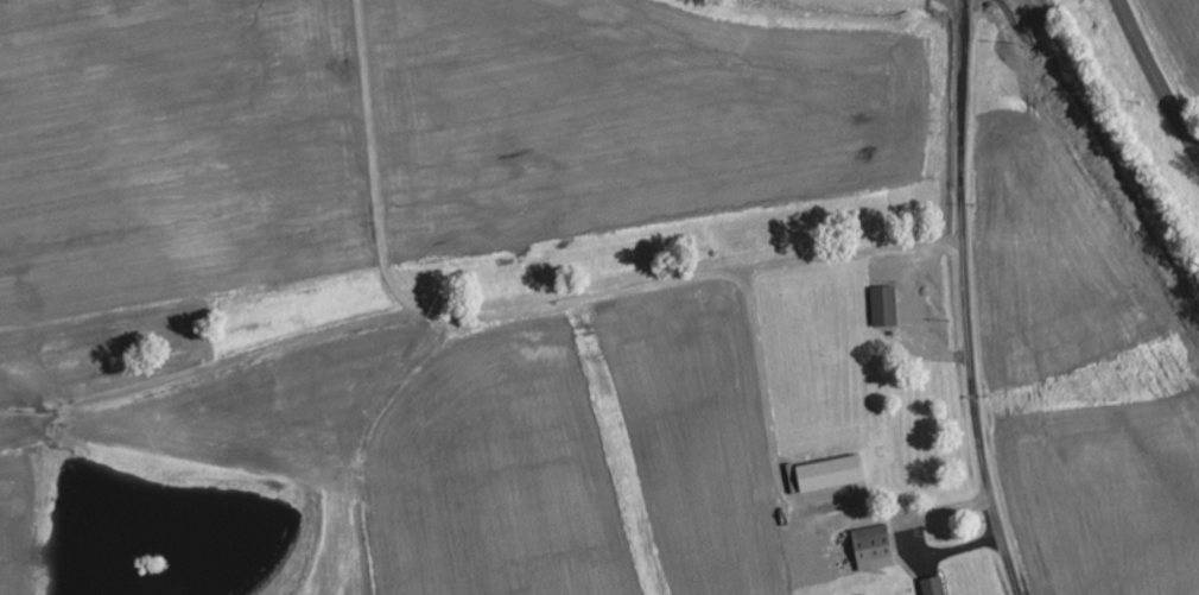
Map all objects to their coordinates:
road: (1157, 78)
road: (963, 88)
building: (886, 306)
road: (975, 387)
building: (830, 474)
building: (875, 547)
building: (934, 587)

